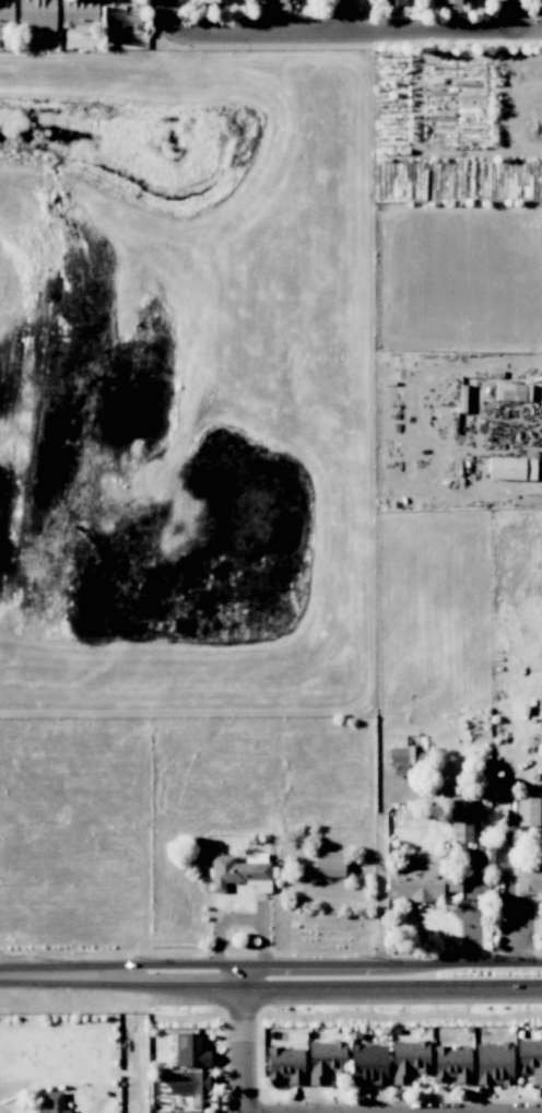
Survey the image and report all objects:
building: (213, 0)
building: (283, 1)
building: (462, 1)
building: (397, 2)
building: (5, 13)
building: (79, 14)
building: (121, 14)
road: (514, 14)
road: (170, 16)
road: (344, 16)
building: (36, 17)
road: (356, 33)
building: (511, 468)
building: (398, 754)
building: (528, 811)
building: (461, 822)
building: (329, 864)
building: (239, 871)
building: (529, 879)
building: (421, 881)
road: (333, 962)
road: (63, 972)
road: (332, 986)
road: (246, 1038)
building: (191, 1050)
building: (530, 1058)
building: (409, 1059)
building: (325, 1061)
building: (368, 1064)
building: (451, 1064)
building: (493, 1064)
building: (285, 1065)
building: (189, 1086)
building: (54, 1103)

